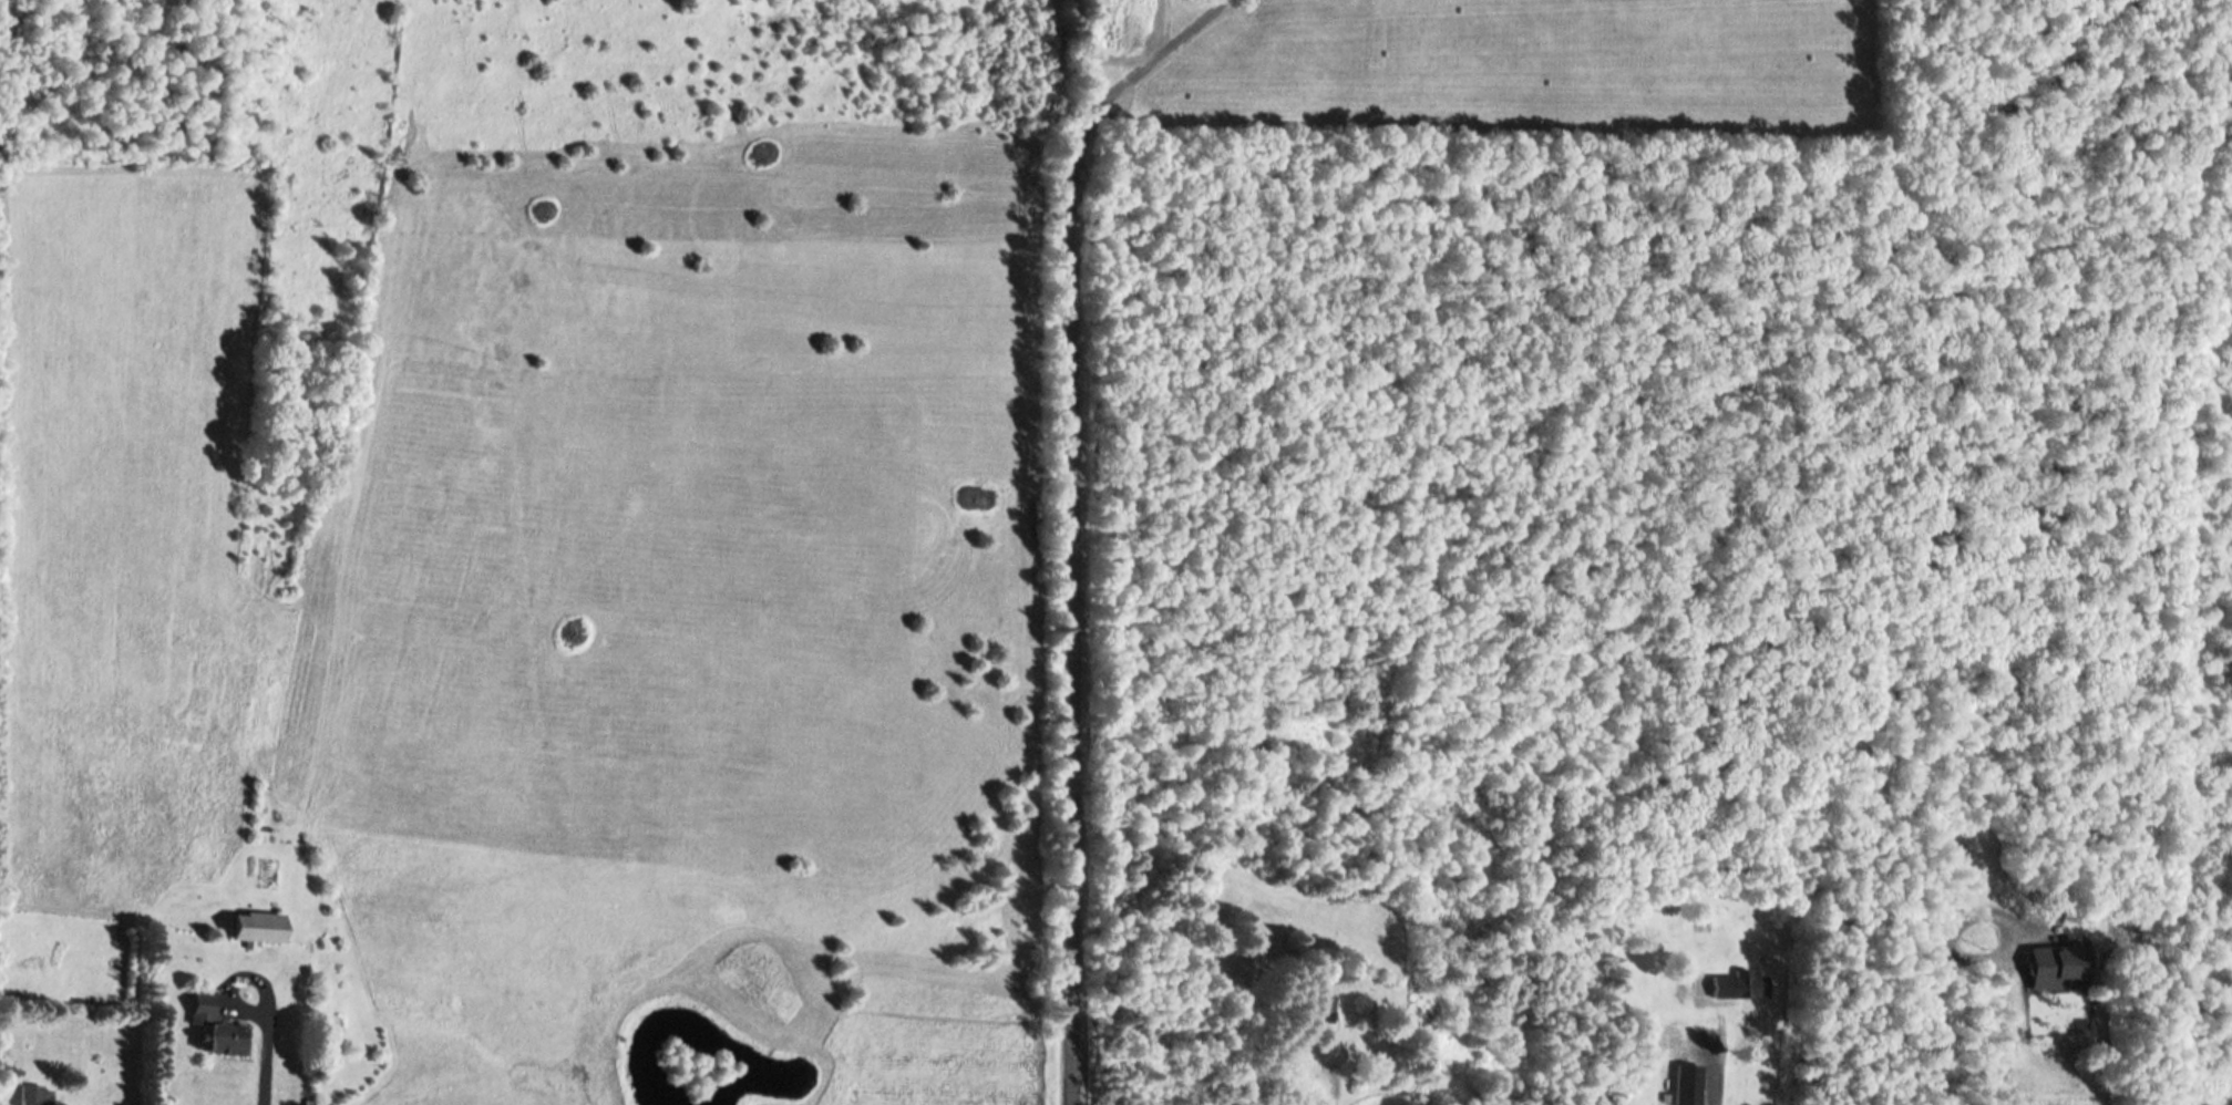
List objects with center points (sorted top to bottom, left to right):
road: (1080, 516)
building: (256, 929)
building: (2056, 969)
building: (1735, 987)
building: (1324, 1010)
building: (214, 1033)
building: (1689, 1085)
building: (38, 1096)

